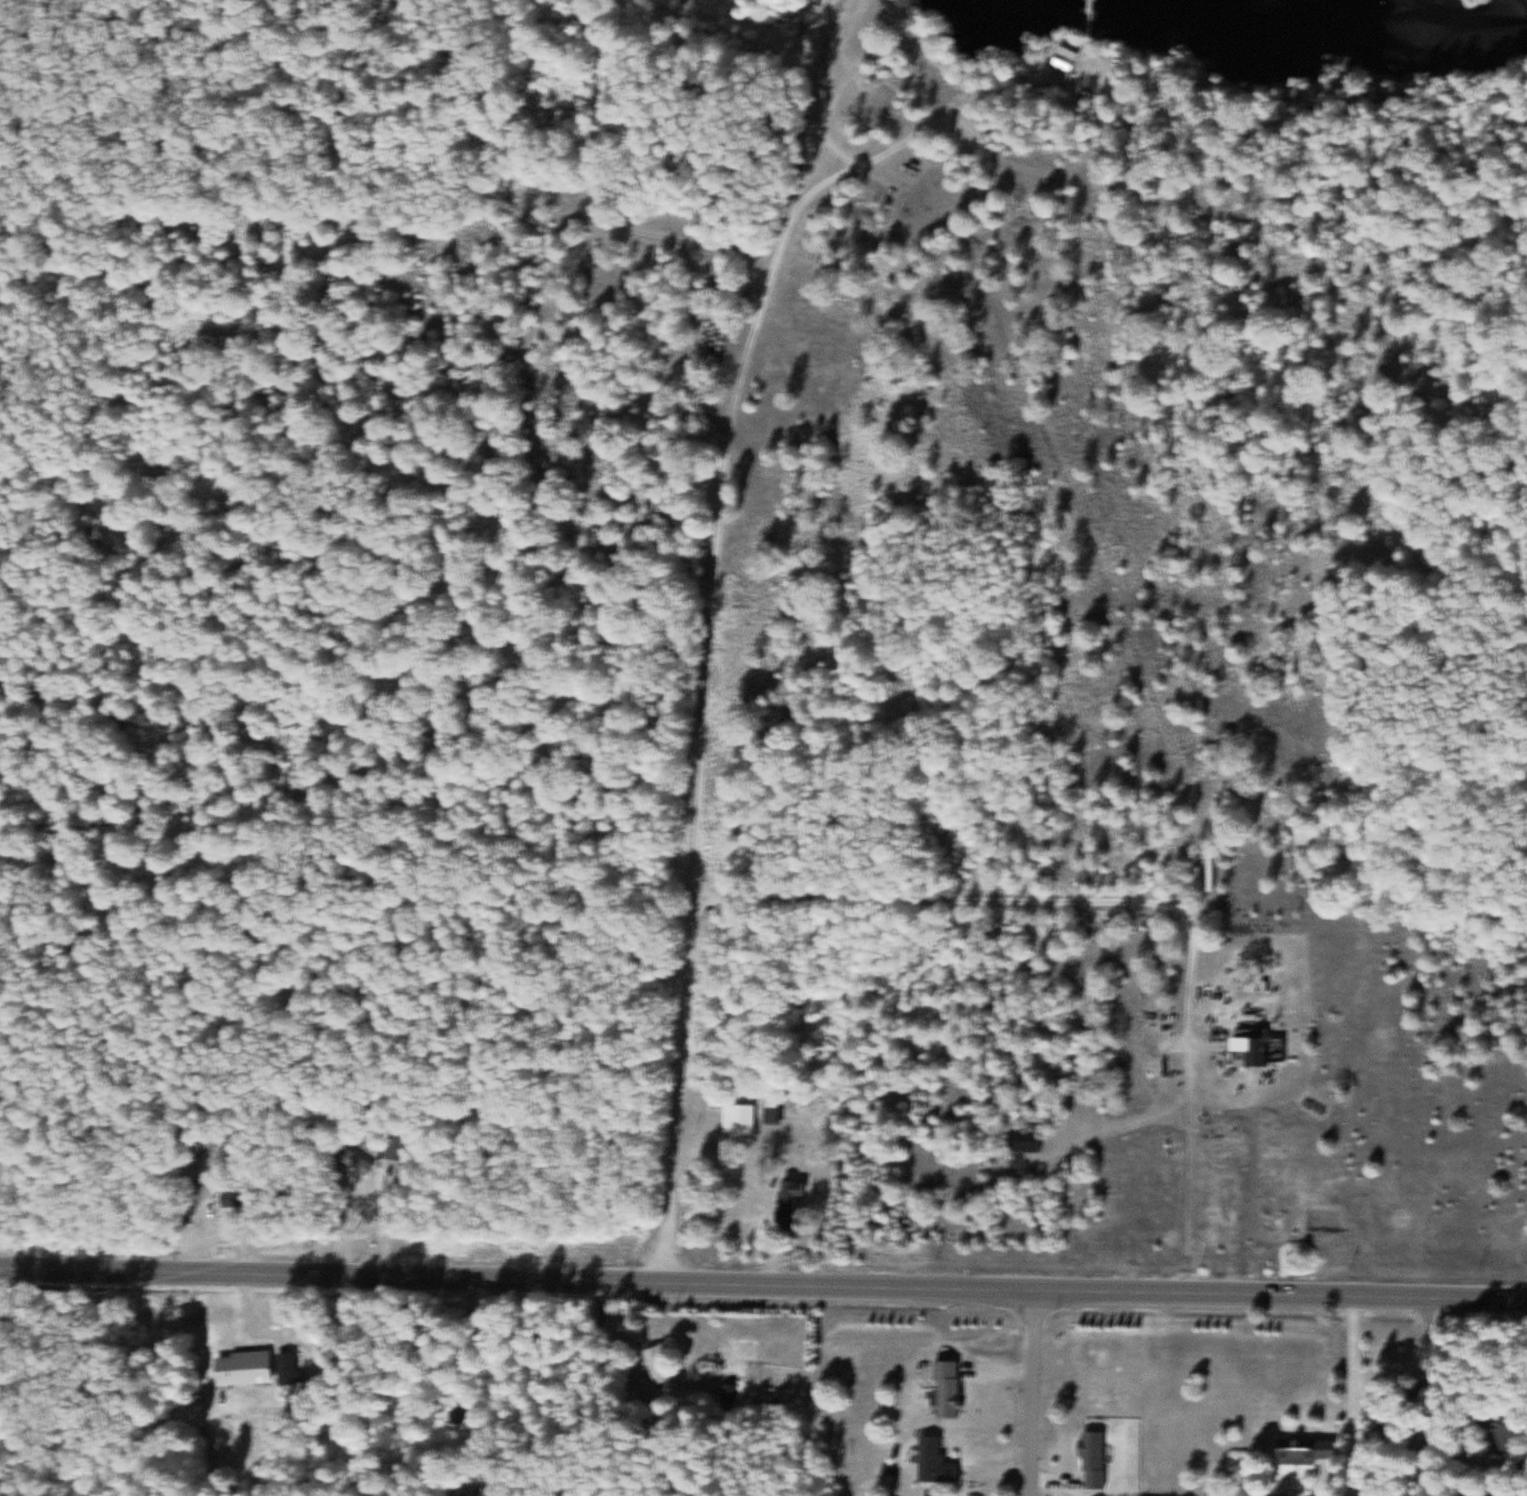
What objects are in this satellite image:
building: (1064, 57)
road: (950, 113)
road: (824, 182)
road: (709, 628)
road: (1157, 692)
road: (1130, 899)
building: (1260, 1050)
building: (776, 1109)
building: (743, 1118)
building: (1028, 1141)
building: (353, 1157)
building: (394, 1172)
building: (241, 1199)
building: (796, 1201)
road: (137, 1264)
road: (900, 1286)
building: (660, 1364)
building: (289, 1366)
building: (247, 1367)
building: (952, 1388)
road: (1034, 1392)
building: (731, 1393)
building: (1509, 1434)
building: (1310, 1450)
building: (1096, 1458)
building: (938, 1461)
building: (1508, 1486)

